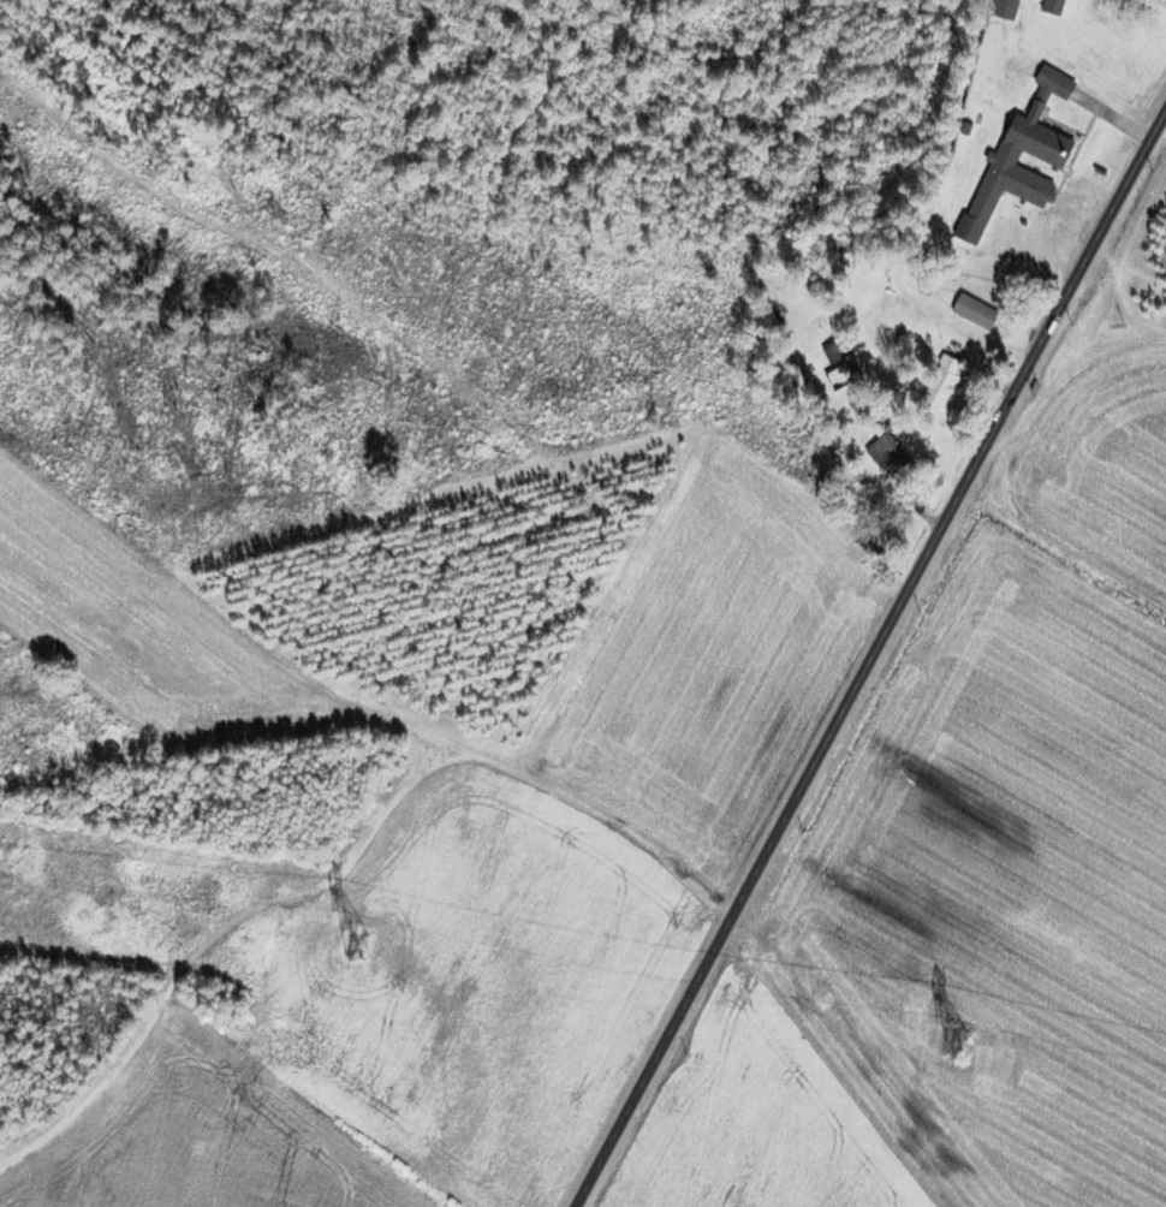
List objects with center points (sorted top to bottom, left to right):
building: (1048, 7)
building: (1000, 8)
building: (1047, 160)
building: (968, 314)
building: (936, 381)
building: (878, 451)
road: (869, 658)
road: (484, 759)
power tower: (350, 944)
power tower: (954, 1040)

